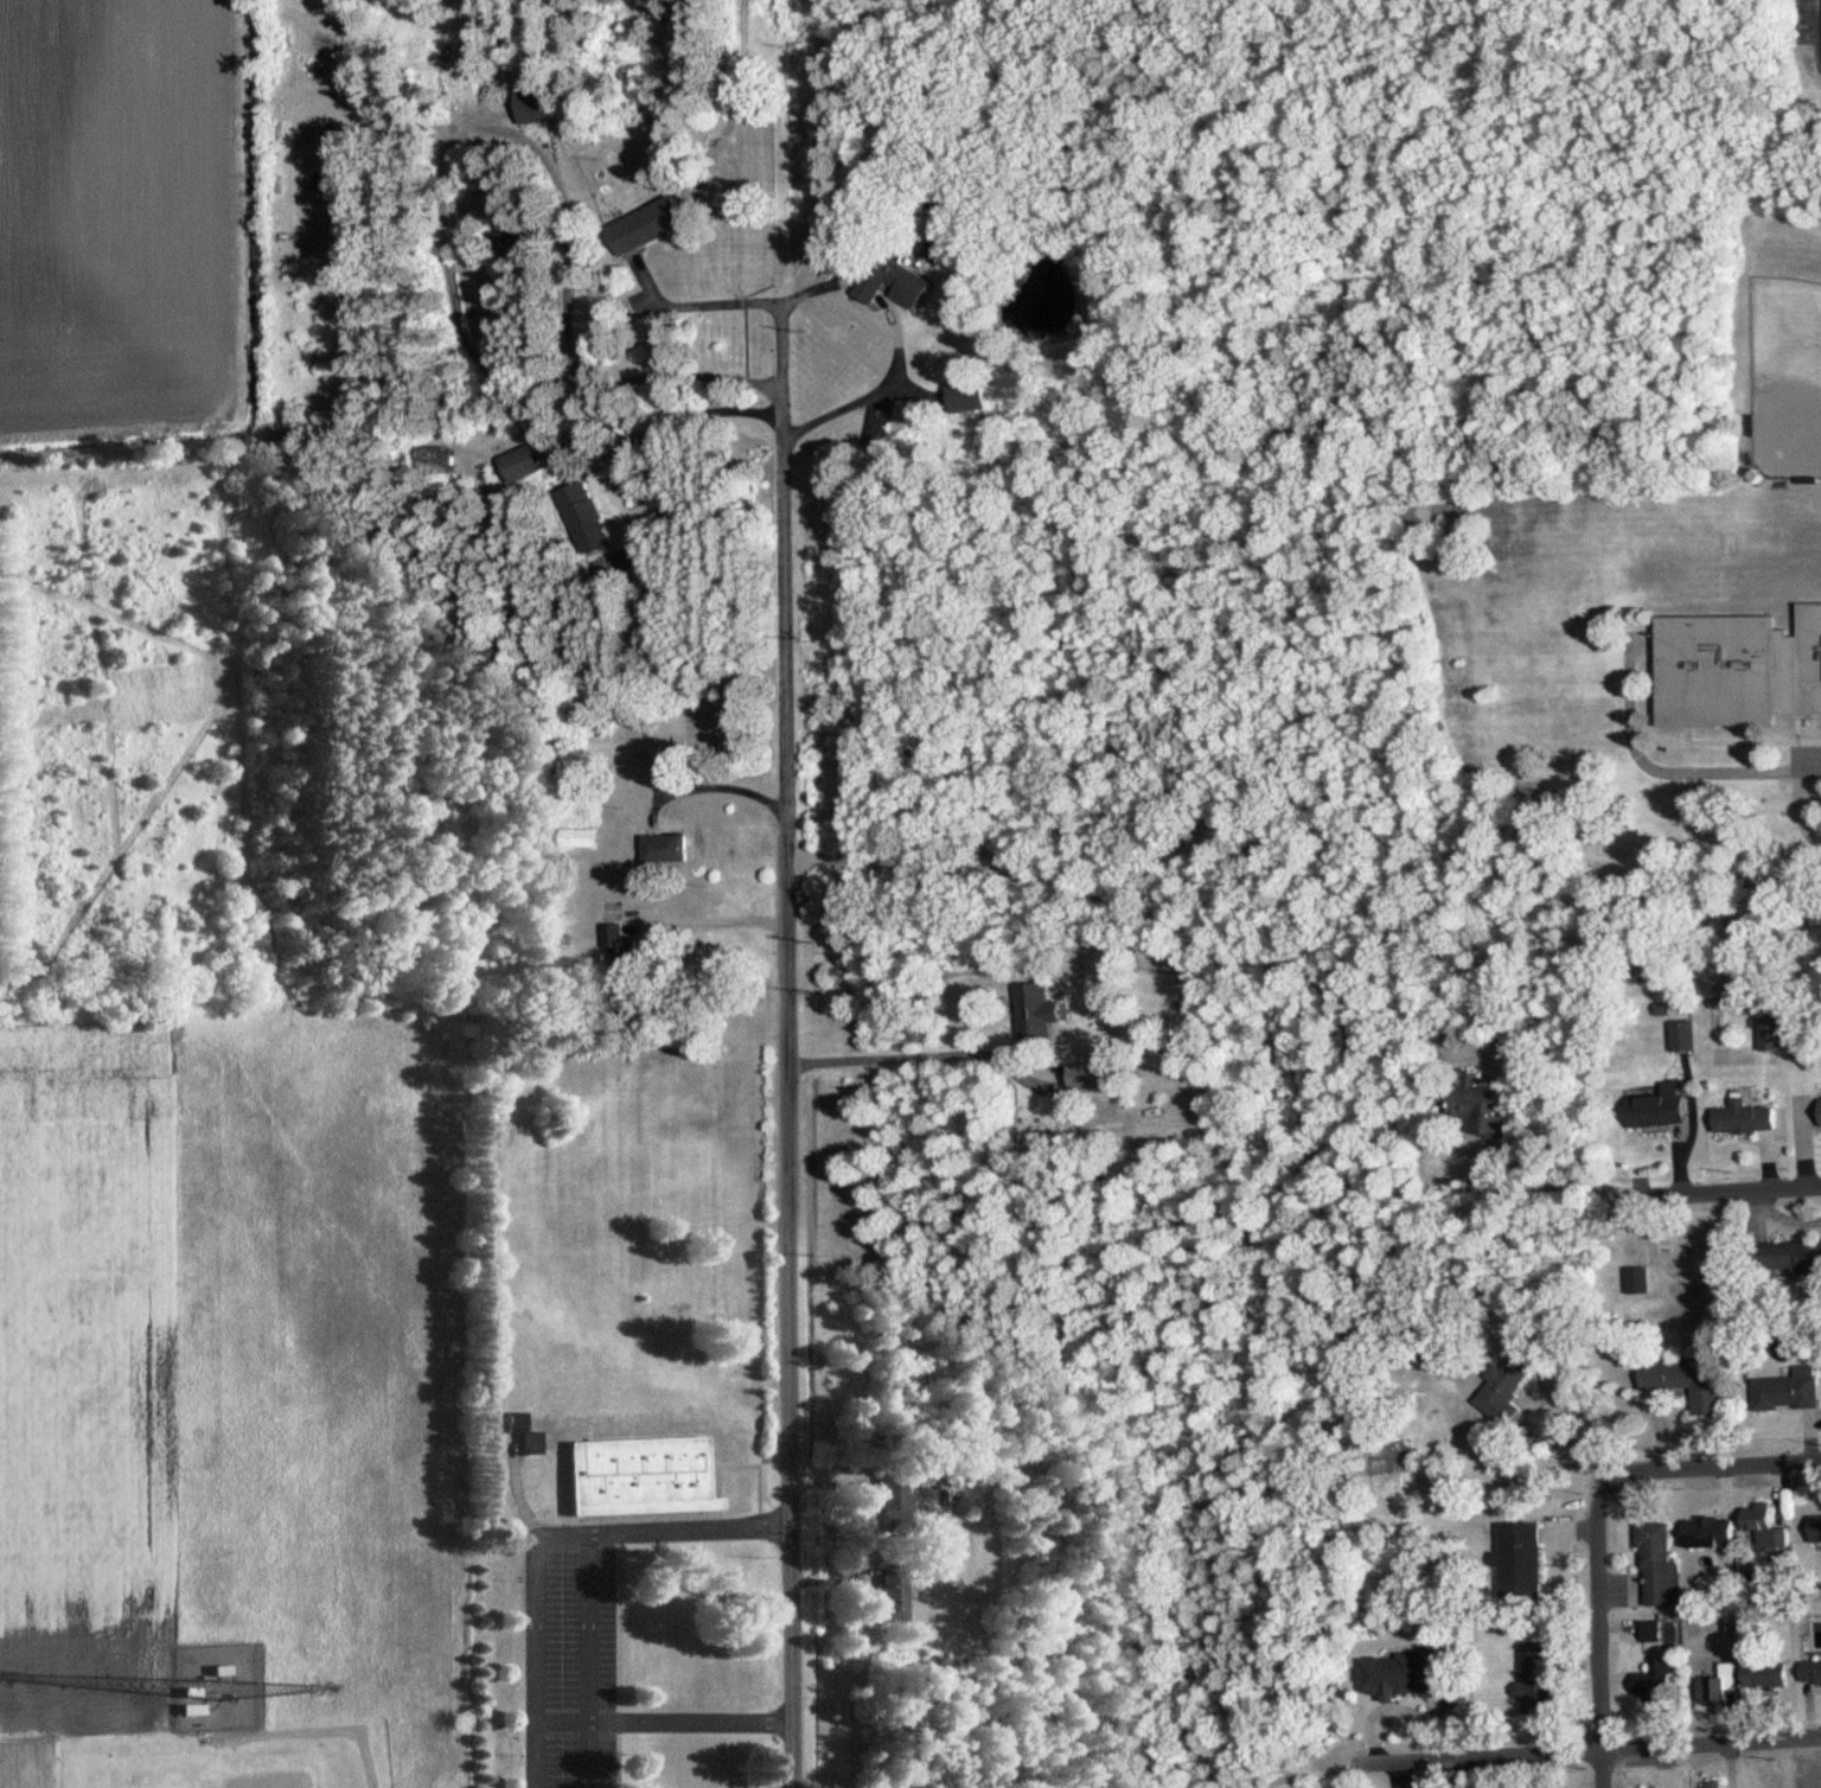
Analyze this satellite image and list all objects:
building: (536, 101)
building: (647, 224)
building: (895, 281)
road: (697, 304)
road: (895, 334)
building: (966, 394)
building: (525, 459)
building: (583, 516)
building: (1738, 669)
building: (657, 756)
road: (708, 785)
building: (579, 836)
building: (666, 847)
road: (718, 917)
building: (621, 947)
building: (1036, 1014)
building: (1775, 1032)
building: (1681, 1034)
road: (790, 1049)
road: (914, 1055)
building: (1087, 1074)
building: (1476, 1100)
building: (1660, 1106)
building: (1745, 1117)
road: (1532, 1183)
road: (1720, 1188)
building: (1787, 1254)
building: (1636, 1279)
building: (1688, 1380)
building: (1502, 1387)
building: (1788, 1390)
road: (1693, 1468)
building: (641, 1474)
building: (894, 1500)
building: (1762, 1526)
building: (1815, 1528)
building: (1708, 1532)
building: (1521, 1560)
building: (1657, 1567)
building: (894, 1591)
building: (1651, 1633)
road: (1599, 1635)
building: (1810, 1672)
building: (1764, 1673)
building: (1401, 1674)
building: (1535, 1675)
building: (1659, 1678)
building: (1726, 1681)
road: (1711, 1744)
road: (1470, 1756)

